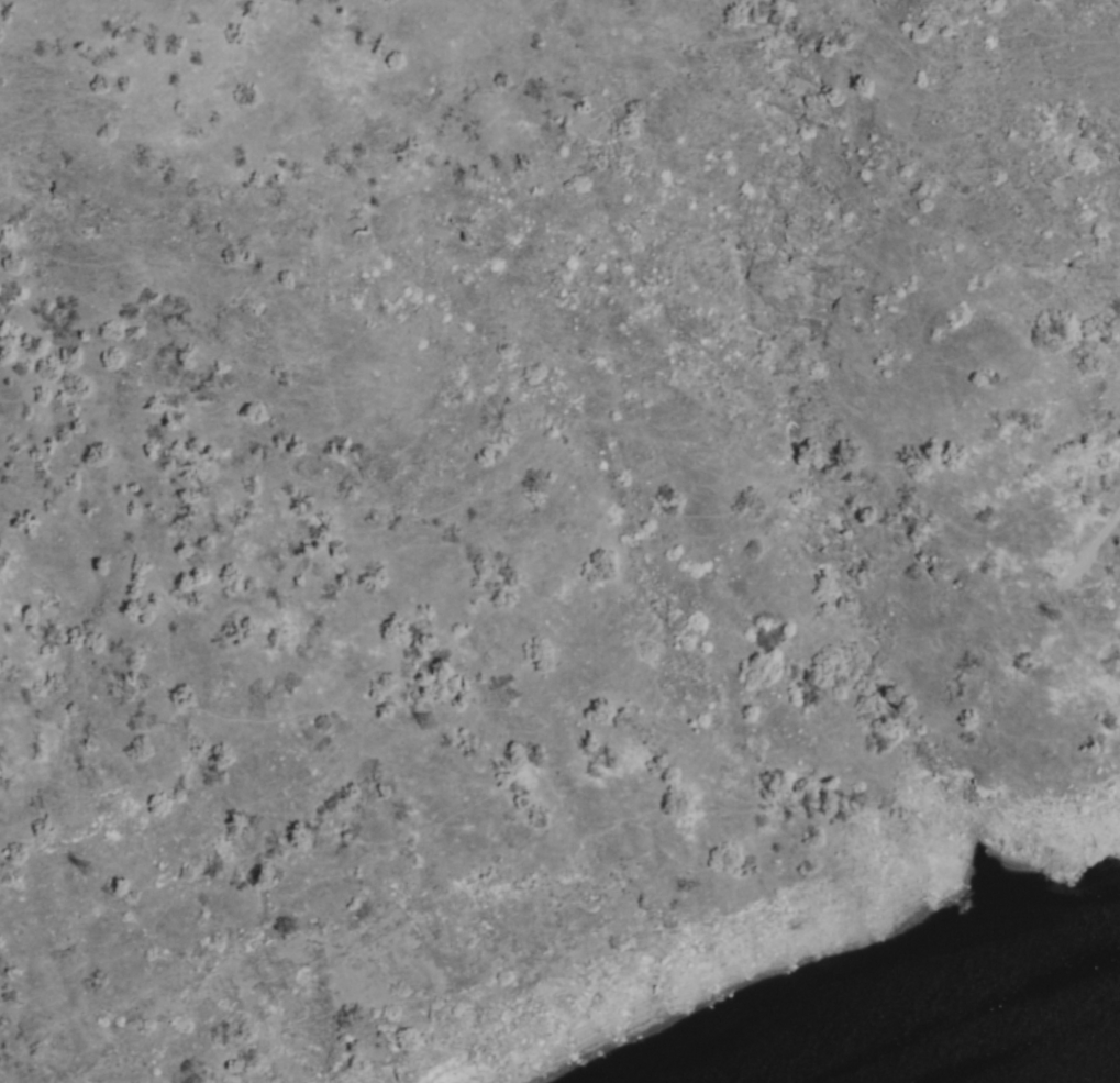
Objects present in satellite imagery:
power tower: (1045, 619)
power tower: (417, 725)
power tower: (71, 872)
river: (1084, 1037)
river: (1024, 1062)

